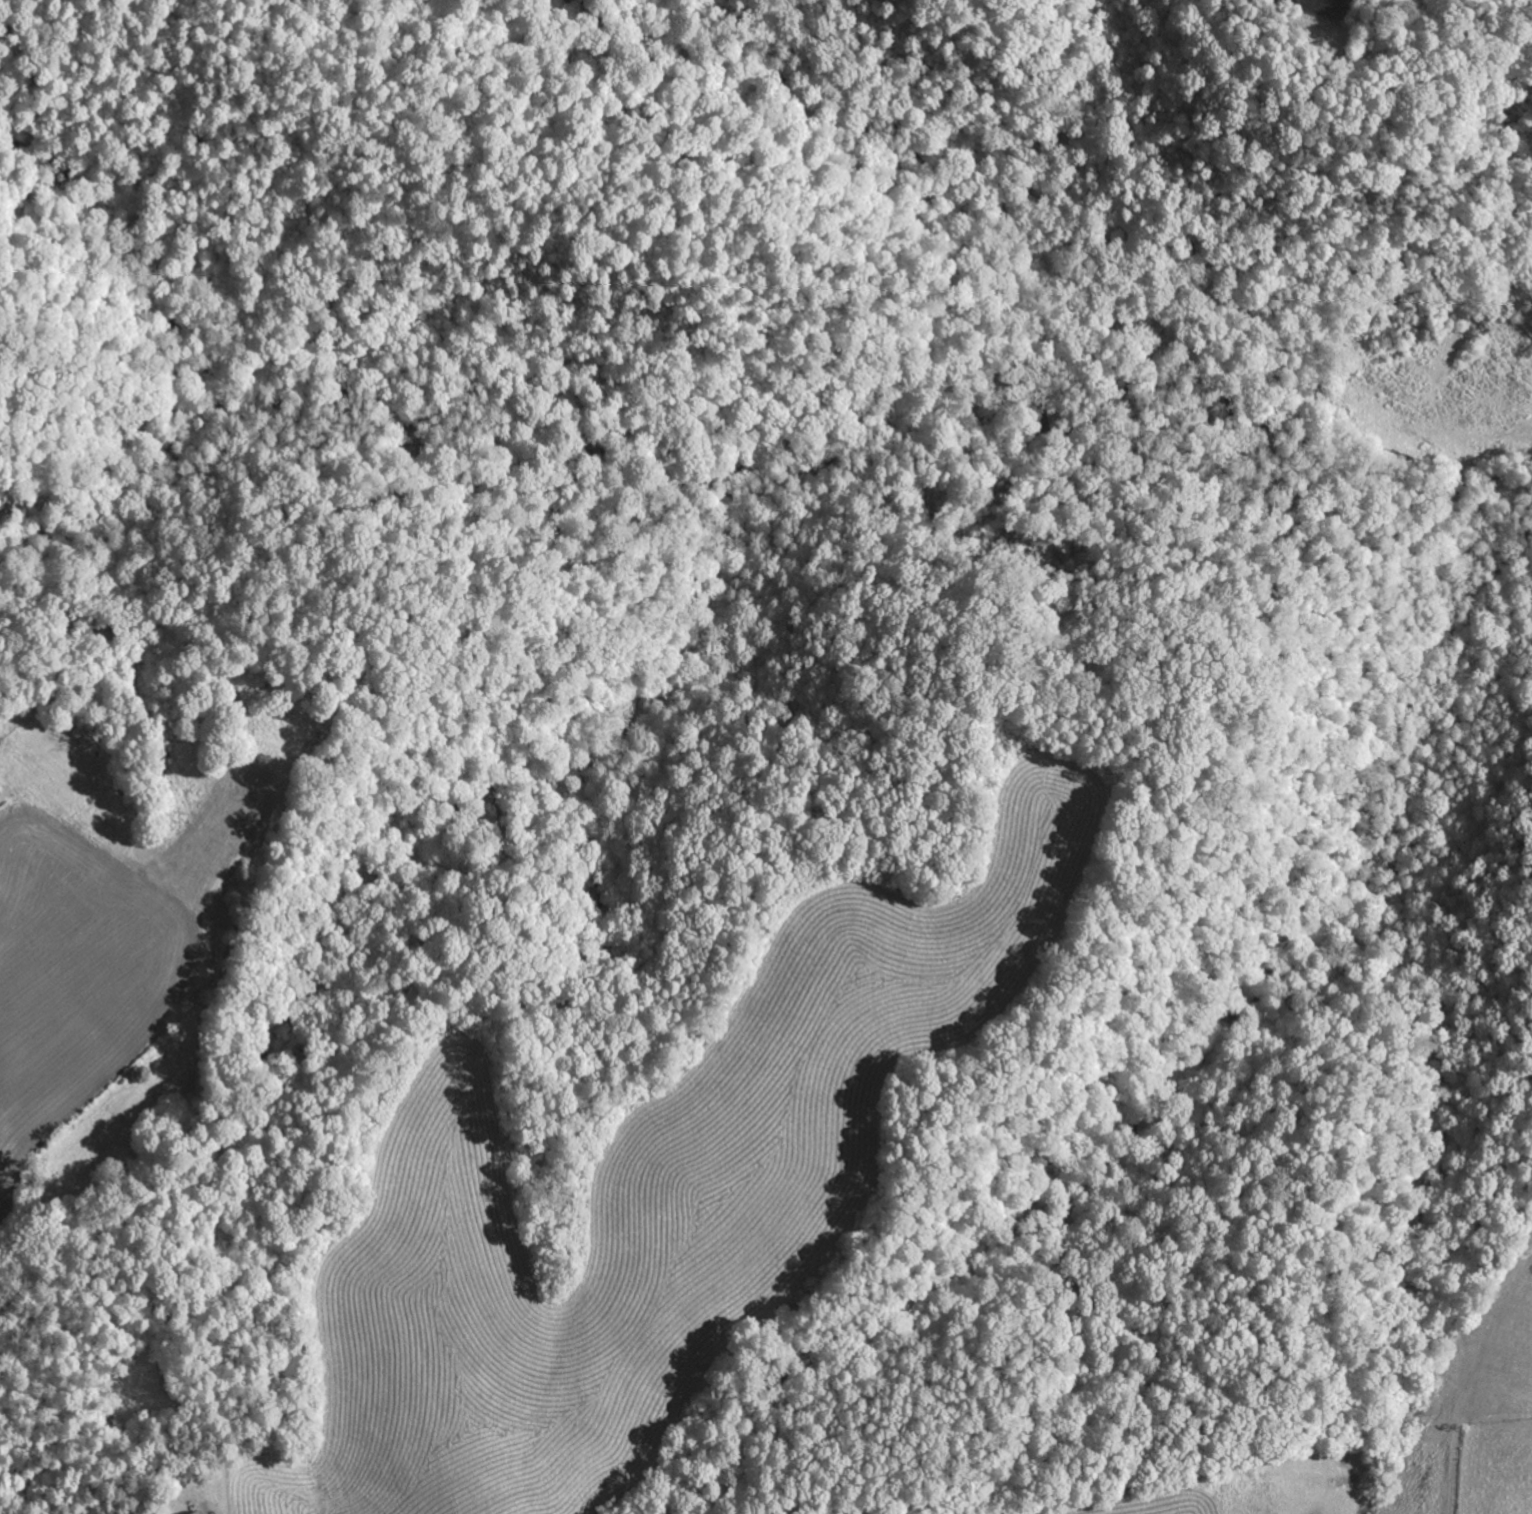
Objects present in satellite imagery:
building: (191, 1512)

